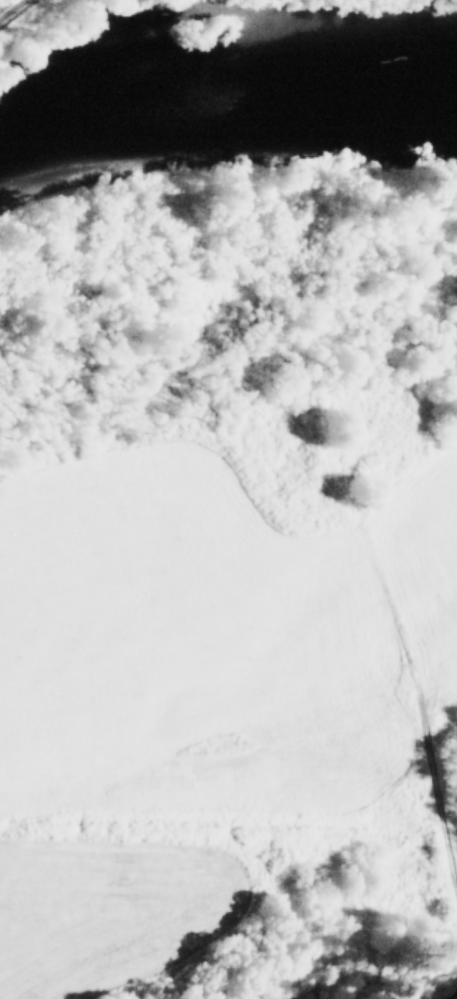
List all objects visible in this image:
road: (7, 5)
river: (220, 97)
crop: (214, 701)
road: (419, 708)

